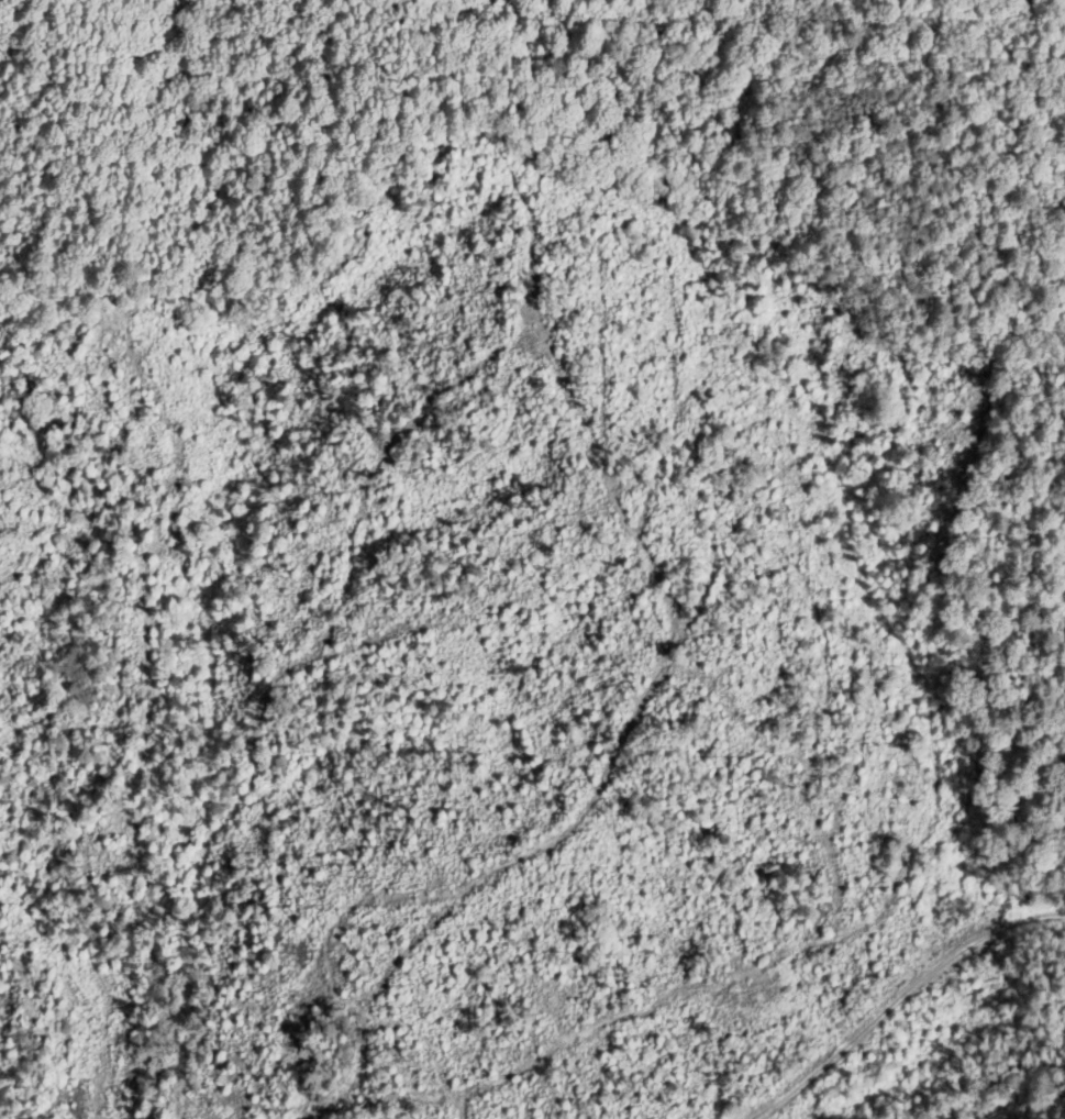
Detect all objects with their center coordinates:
road: (1064, 1118)

